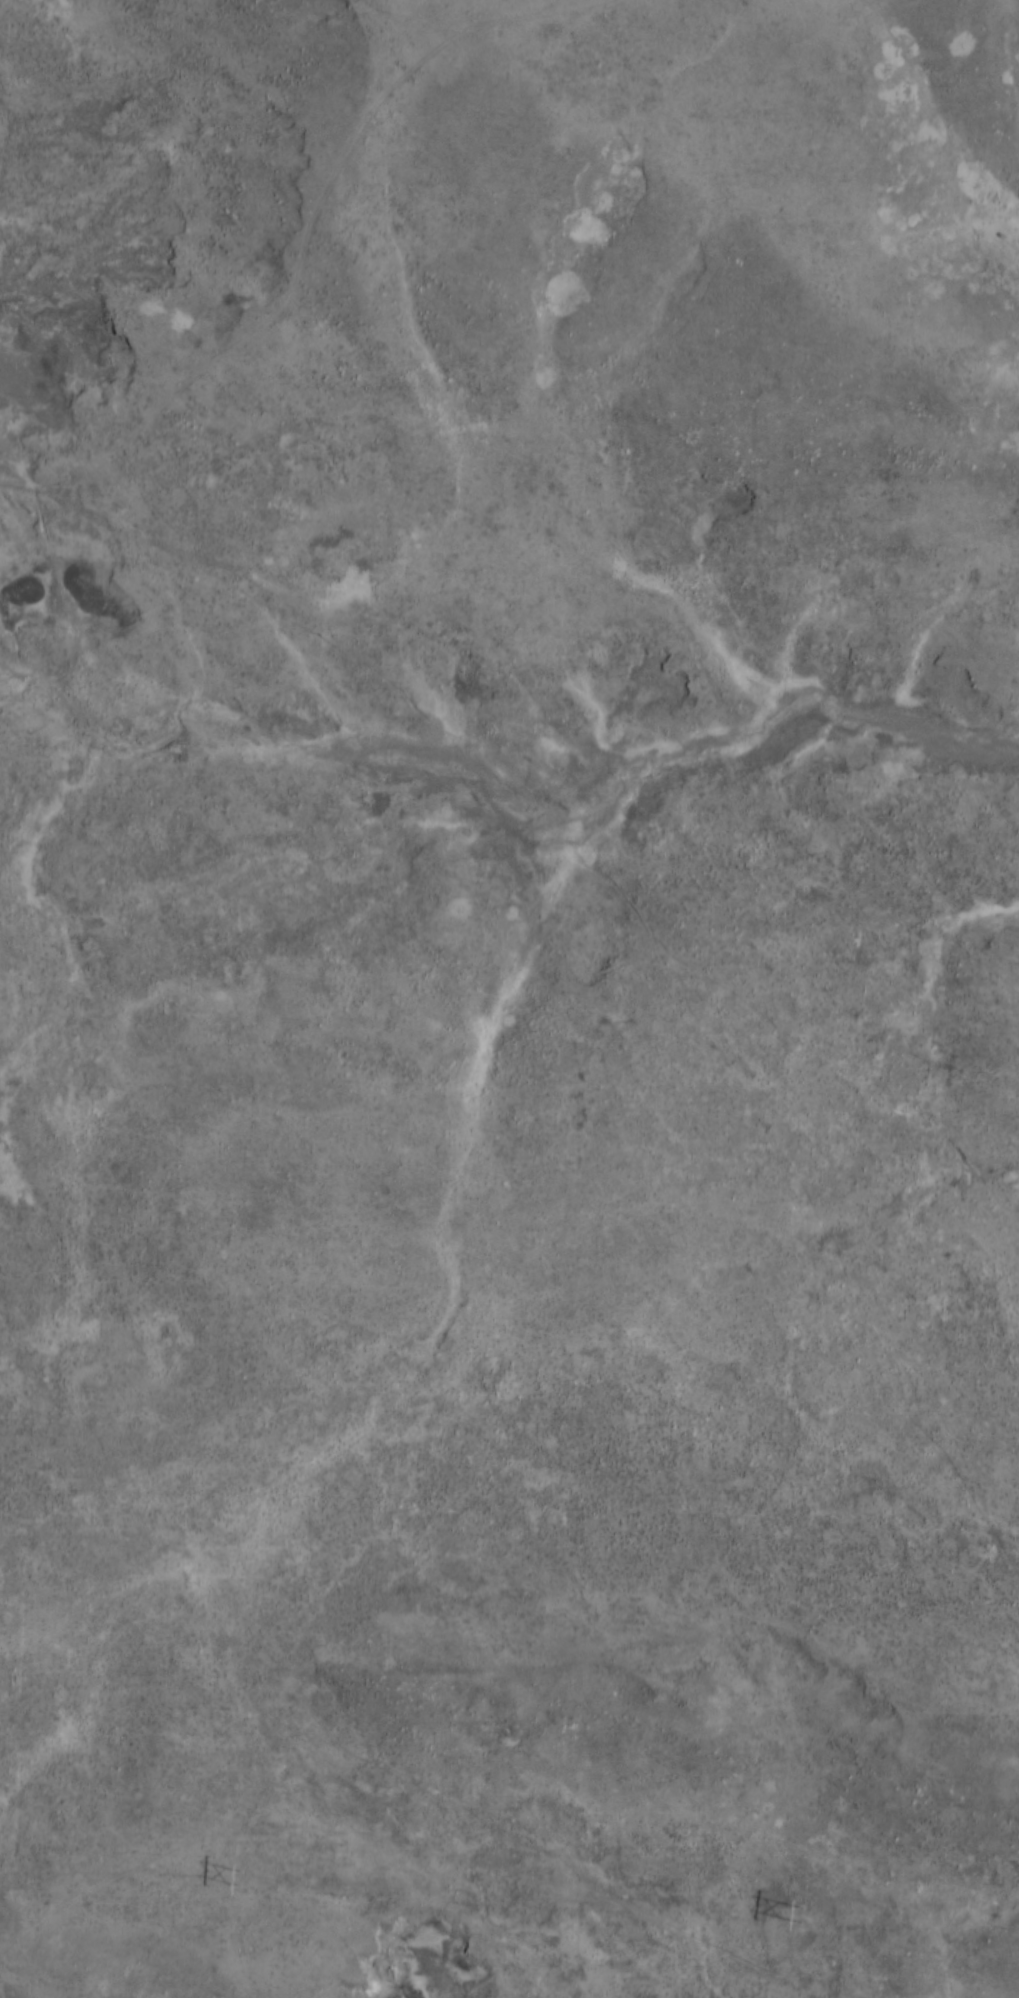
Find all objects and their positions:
road: (310, 228)
power tower: (241, 1879)
power tower: (848, 1918)

